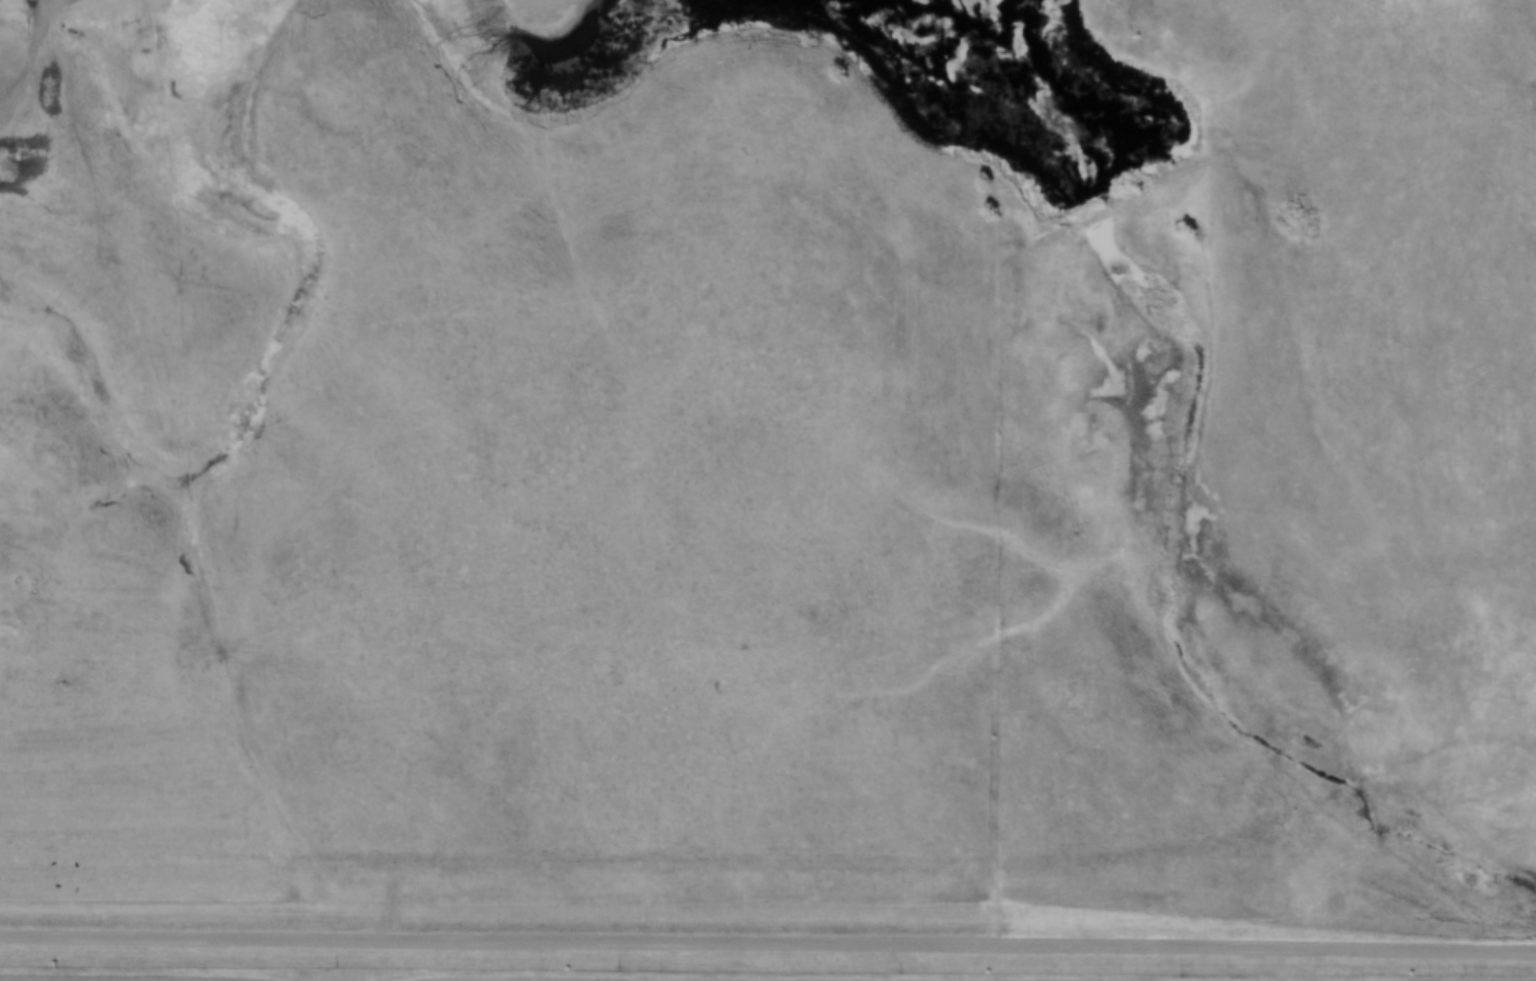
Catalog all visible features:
road: (768, 943)

